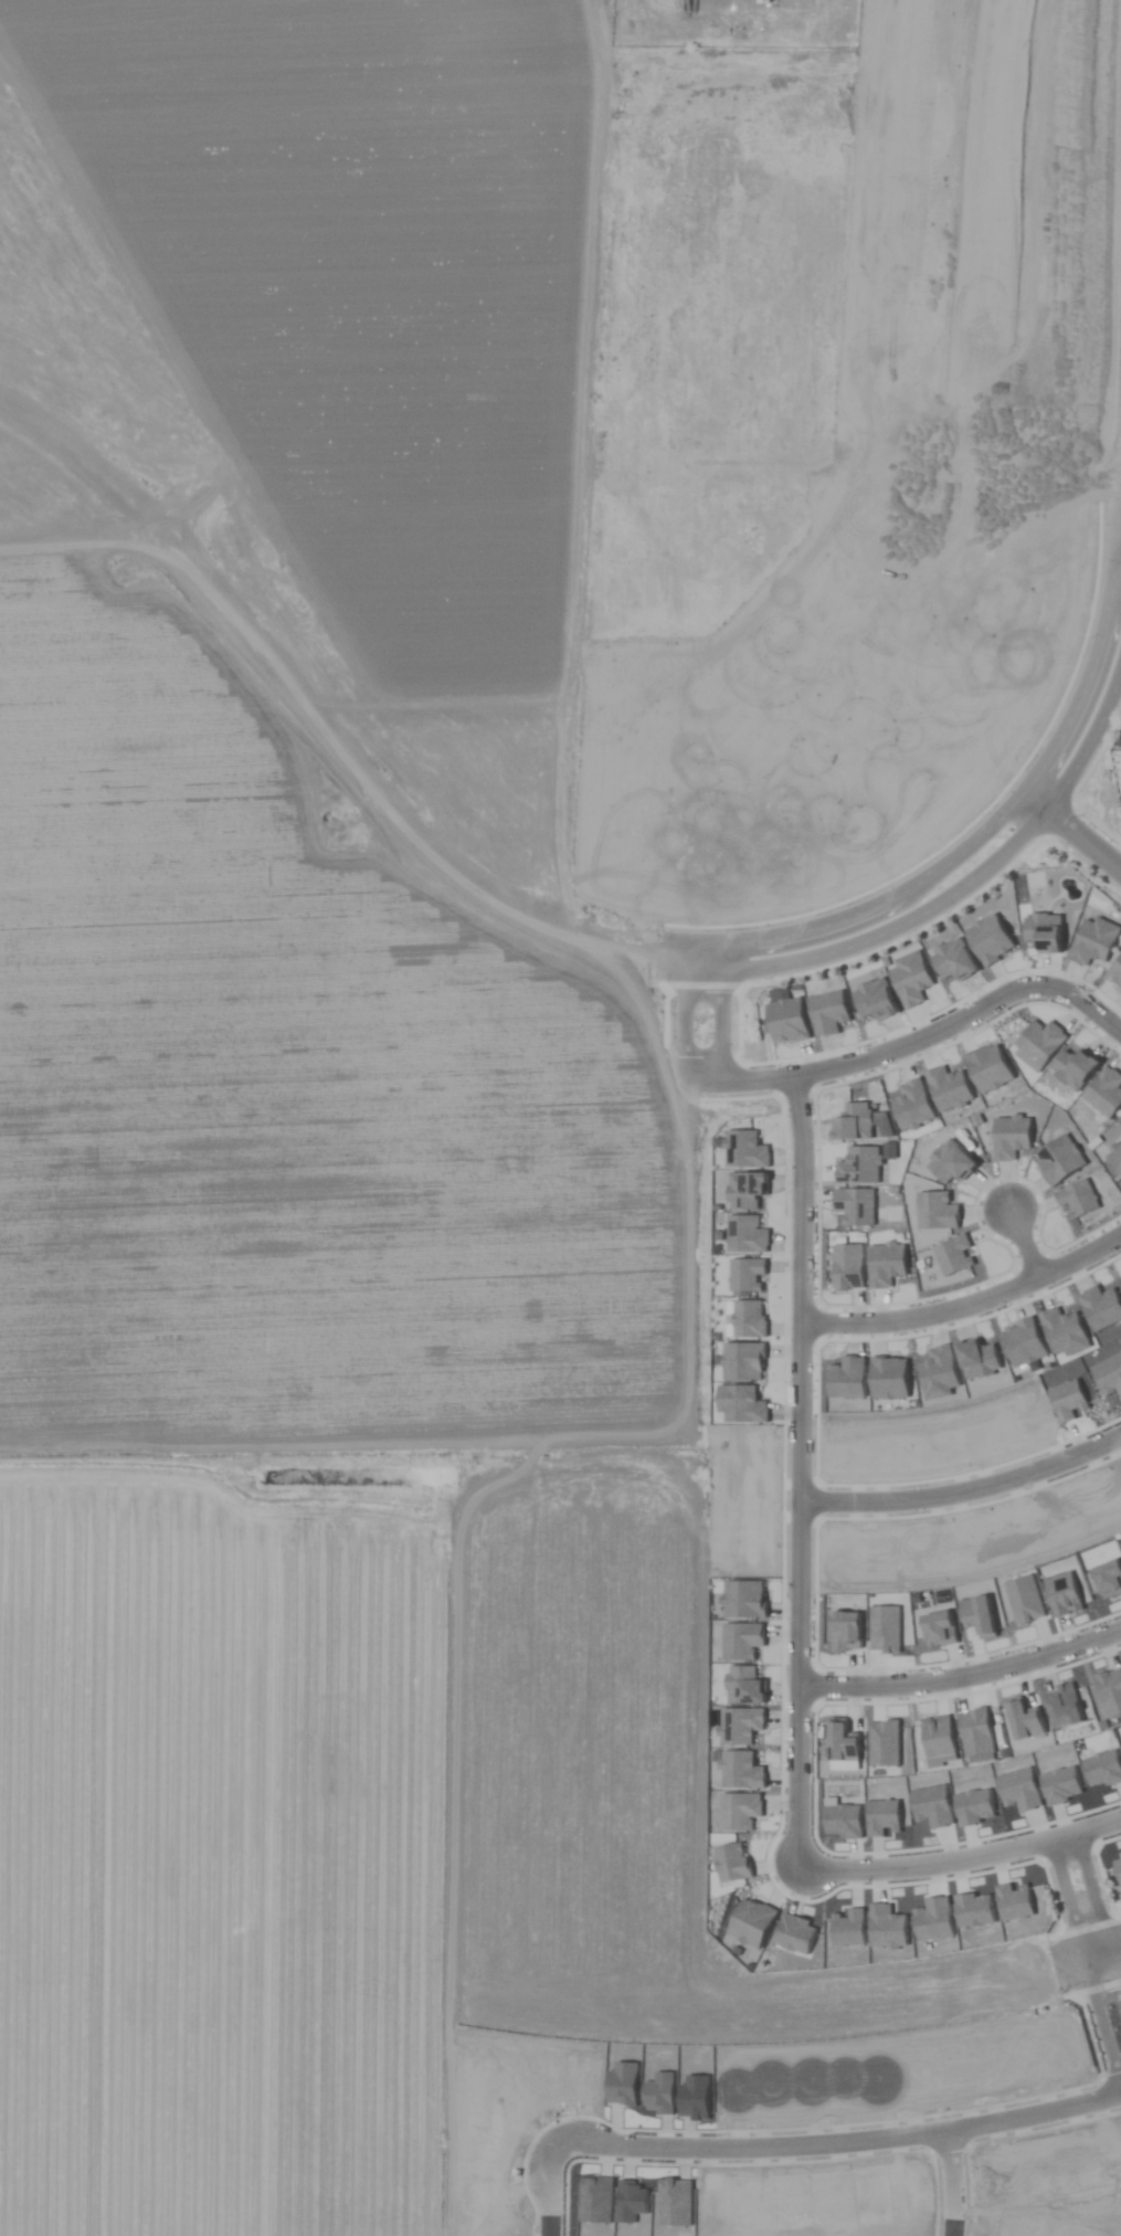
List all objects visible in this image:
road: (1117, 503)
road: (1119, 520)
road: (996, 821)
road: (1071, 836)
road: (953, 895)
road: (692, 957)
road: (726, 958)
road: (963, 1019)
road: (688, 1026)
road: (722, 1029)
road: (740, 1082)
crop: (560, 1118)
road: (1019, 1248)
road: (965, 1308)
road: (795, 1474)
road: (962, 1491)
road: (959, 1677)
road: (958, 1860)
road: (1093, 1931)
road: (1097, 1940)
road: (1080, 1970)
road: (1101, 1970)
road: (843, 2152)
road: (948, 2186)
road: (557, 2196)

